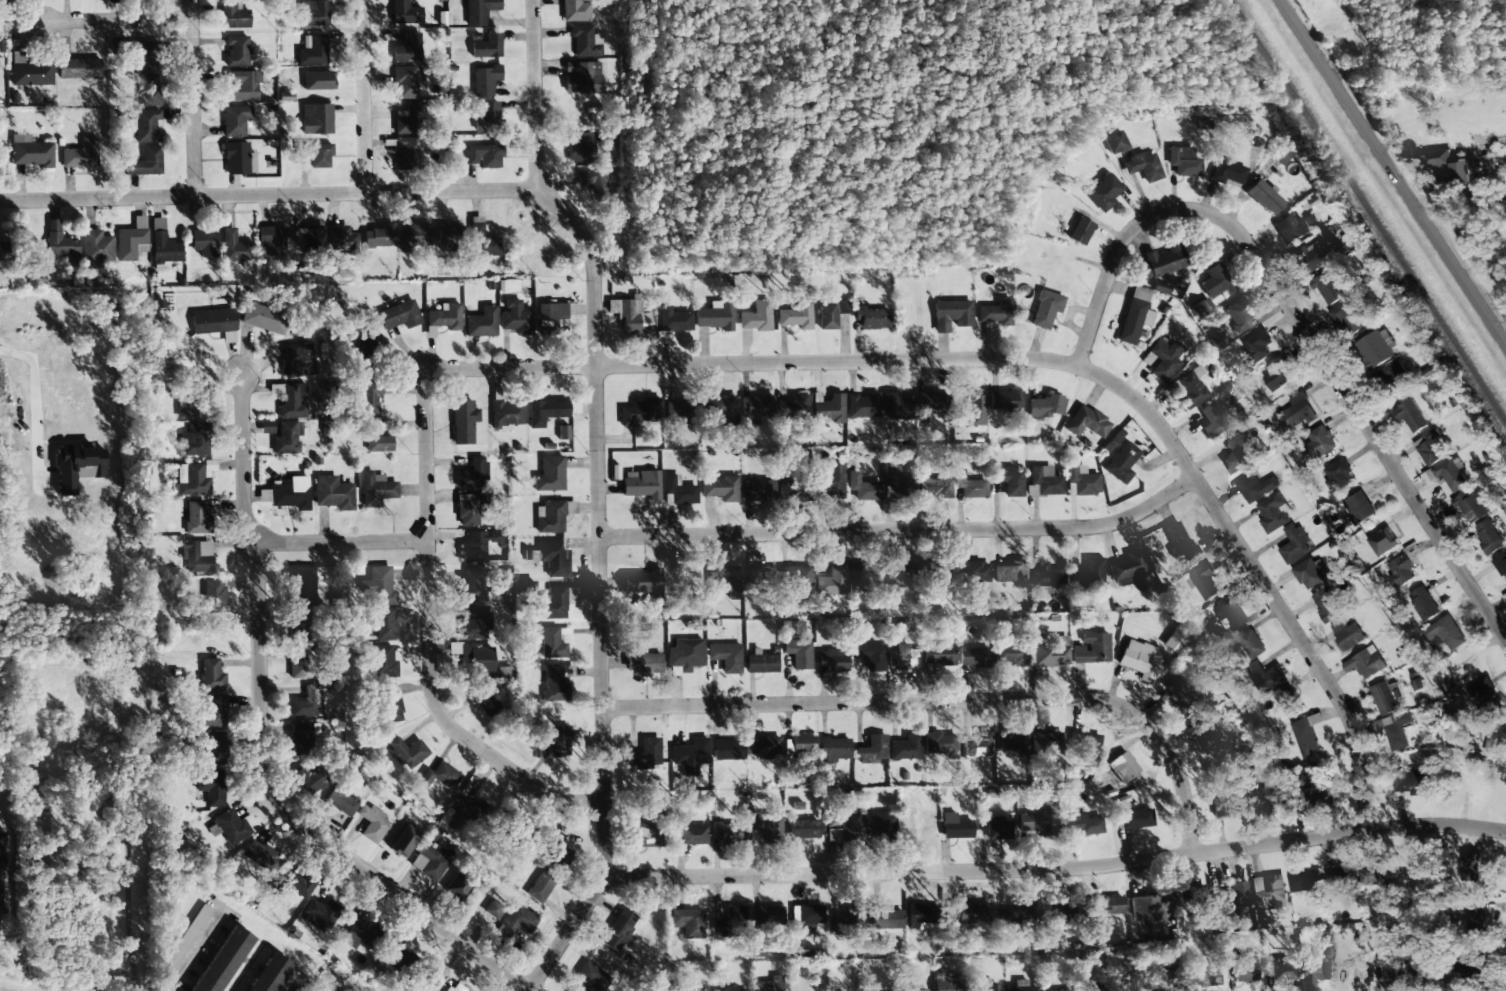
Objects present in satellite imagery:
building: (479, 11)
building: (576, 11)
building: (314, 13)
building: (405, 13)
building: (233, 15)
road: (119, 20)
building: (586, 41)
building: (486, 46)
building: (407, 48)
building: (312, 50)
building: (237, 51)
building: (143, 56)
building: (79, 68)
building: (30, 71)
building: (583, 77)
building: (485, 80)
building: (405, 82)
building: (243, 85)
building: (147, 89)
road: (365, 96)
road: (194, 98)
building: (488, 118)
building: (316, 119)
building: (410, 119)
building: (235, 120)
building: (145, 126)
building: (1117, 142)
building: (582, 147)
building: (31, 151)
building: (408, 153)
building: (1279, 153)
building: (81, 154)
building: (320, 155)
building: (480, 156)
building: (239, 159)
building: (1436, 159)
building: (144, 162)
building: (1184, 162)
building: (1143, 167)
building: (1228, 172)
road: (1393, 172)
building: (1461, 173)
building: (596, 182)
building: (1104, 192)
road: (269, 195)
building: (1264, 197)
railway: (1368, 211)
building: (1291, 229)
building: (1080, 231)
building: (447, 234)
building: (416, 236)
building: (308, 237)
building: (379, 237)
building: (342, 239)
building: (132, 240)
building: (272, 240)
building: (482, 242)
building: (205, 243)
building: (61, 244)
building: (164, 245)
building: (235, 247)
building: (97, 248)
building: (4, 251)
building: (1312, 256)
building: (1161, 263)
building: (1216, 281)
building: (1328, 288)
building: (1200, 308)
building: (1046, 309)
building: (996, 313)
building: (831, 314)
building: (951, 314)
building: (399, 315)
building: (550, 315)
building: (1135, 315)
building: (1239, 315)
building: (796, 316)
building: (1350, 316)
building: (445, 317)
building: (515, 317)
building: (630, 317)
building: (715, 317)
building: (871, 317)
building: (263, 318)
building: (757, 318)
building: (673, 320)
building: (215, 323)
building: (482, 323)
road: (1300, 327)
building: (1217, 341)
building: (1257, 344)
building: (1375, 348)
building: (365, 353)
building: (1164, 359)
building: (297, 360)
road: (757, 363)
building: (1278, 374)
building: (1191, 388)
building: (368, 399)
building: (1006, 400)
building: (293, 401)
building: (927, 403)
building: (896, 405)
building: (797, 406)
building: (863, 406)
building: (1045, 406)
building: (758, 407)
building: (187, 408)
building: (828, 408)
building: (681, 409)
building: (976, 409)
road: (21, 410)
building: (723, 410)
building: (1298, 410)
building: (546, 411)
building: (638, 412)
building: (506, 415)
building: (1411, 417)
building: (1215, 418)
building: (463, 421)
building: (1087, 422)
building: (286, 438)
building: (376, 438)
building: (195, 440)
building: (1319, 443)
building: (1429, 448)
building: (1237, 454)
building: (1122, 463)
building: (77, 467)
building: (472, 474)
building: (550, 474)
building: (1450, 475)
building: (1338, 476)
building: (192, 480)
building: (1010, 480)
building: (1081, 481)
building: (831, 482)
building: (1044, 482)
building: (641, 483)
building: (969, 485)
building: (903, 487)
building: (935, 487)
building: (720, 488)
building: (863, 488)
building: (1256, 488)
building: (376, 489)
building: (793, 489)
building: (757, 490)
building: (678, 492)
building: (291, 493)
building: (334, 493)
building: (264, 495)
road: (599, 495)
building: (1471, 506)
building: (1359, 508)
building: (469, 509)
building: (1273, 513)
building: (552, 516)
building: (197, 518)
road: (904, 530)
building: (1488, 537)
building: (1383, 541)
road: (341, 542)
building: (1178, 542)
building: (1294, 544)
building: (478, 545)
building: (197, 556)
building: (554, 558)
building: (1501, 565)
building: (1128, 567)
building: (1402, 569)
building: (929, 570)
building: (973, 572)
building: (1009, 573)
building: (1090, 573)
building: (692, 574)
building: (761, 574)
building: (795, 574)
building: (863, 574)
building: (1308, 574)
building: (901, 575)
road: (1259, 577)
building: (723, 578)
building: (1044, 578)
building: (832, 581)
building: (1205, 582)
building: (644, 583)
building: (473, 585)
building: (301, 586)
building: (380, 586)
building: (213, 596)
building: (553, 604)
building: (1423, 604)
building: (1326, 605)
building: (1229, 612)
building: (388, 622)
building: (476, 624)
building: (300, 625)
building: (1446, 633)
building: (1348, 635)
road: (431, 638)
building: (1247, 641)
building: (1175, 642)
building: (552, 644)
building: (1092, 649)
building: (1051, 651)
building: (799, 653)
building: (685, 654)
building: (1009, 654)
building: (870, 655)
building: (944, 655)
building: (726, 657)
building: (972, 657)
building: (903, 658)
building: (476, 659)
building: (1140, 659)
building: (832, 660)
building: (381, 662)
building: (643, 662)
building: (761, 662)
building: (301, 663)
building: (1367, 663)
building: (211, 675)
building: (1265, 677)
building: (554, 684)
building: (1178, 692)
building: (1482, 697)
building: (1385, 698)
building: (485, 700)
road: (949, 701)
building: (1287, 702)
building: (305, 703)
building: (388, 704)
building: (213, 711)
building: (1497, 727)
building: (1395, 730)
building: (1204, 735)
building: (1305, 738)
building: (302, 739)
building: (552, 740)
building: (1011, 742)
building: (1084, 742)
building: (1044, 743)
building: (803, 744)
building: (940, 744)
building: (1495, 744)
building: (977, 746)
road: (263, 747)
building: (764, 747)
building: (216, 748)
building: (906, 748)
building: (834, 749)
building: (727, 750)
building: (872, 750)
building: (408, 752)
building: (692, 752)
building: (639, 759)
building: (1121, 766)
building: (439, 777)
building: (310, 779)
building: (1413, 782)
building: (212, 787)
building: (1318, 795)
building: (1272, 796)
building: (340, 802)
building: (1224, 803)
building: (462, 810)
building: (1136, 819)
building: (372, 823)
building: (879, 823)
building: (1037, 823)
building: (1082, 824)
building: (766, 826)
building: (842, 827)
building: (956, 827)
building: (803, 828)
building: (995, 828)
building: (724, 834)
building: (648, 835)
building: (692, 835)
building: (396, 843)
building: (560, 852)
building: (261, 856)
building: (430, 861)
road: (1054, 869)
building: (1, 871)
building: (1376, 874)
building: (1339, 875)
building: (1466, 877)
building: (1305, 880)
building: (299, 884)
building: (458, 887)
building: (541, 887)
building: (1268, 893)
building: (1230, 899)
building: (1110, 905)
building: (1150, 907)
building: (494, 909)
building: (321, 913)
building: (966, 913)
building: (735, 916)
building: (770, 916)
building: (920, 917)
building: (806, 919)
building: (892, 919)
building: (1476, 919)
building: (517, 921)
building: (688, 922)
building: (618, 930)
building: (362, 933)
building: (187, 937)
building: (758, 950)
building: (223, 960)
building: (1391, 964)
building: (1473, 968)
building: (1312, 969)
building: (1280, 970)
building: (1243, 972)
building: (270, 974)
building: (592, 976)
building: (1204, 977)
building: (1146, 982)
building: (947, 983)
building: (769, 985)
building: (455, 987)
building: (1089, 987)
building: (1023, 988)
building: (731, 989)
building: (986, 989)
building: (921, 990)
building: (1055, 990)

